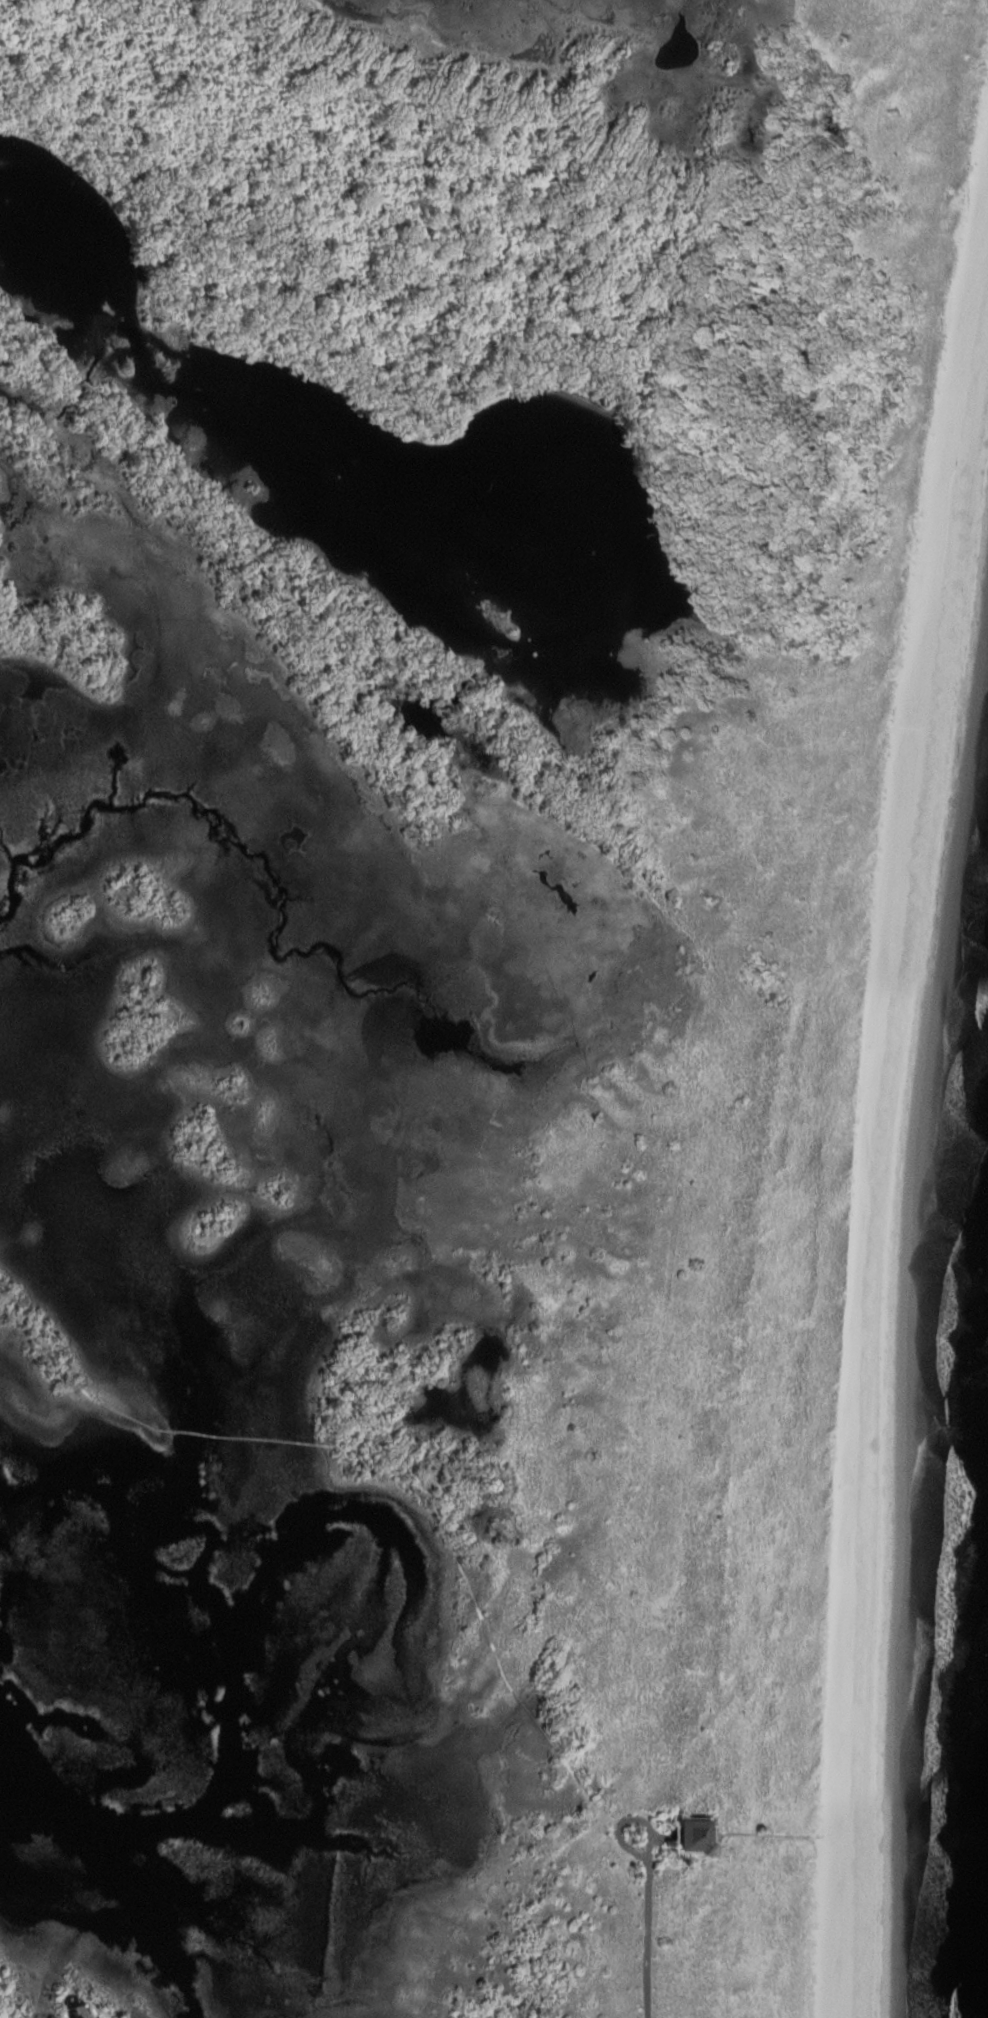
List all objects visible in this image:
road: (624, 1821)
building: (693, 1837)
road: (647, 1938)

